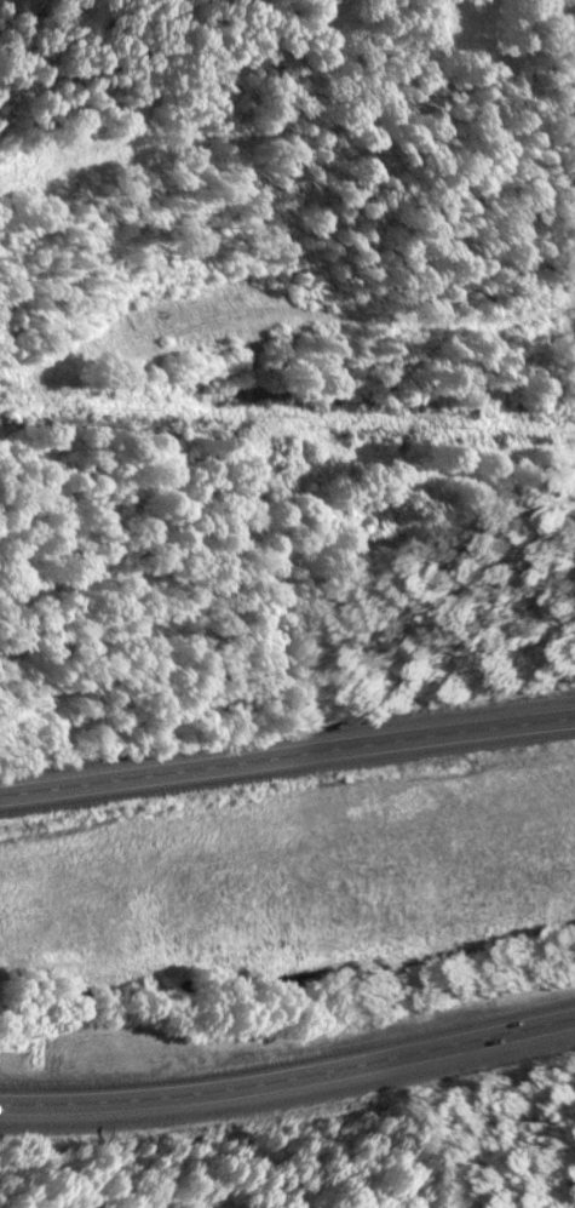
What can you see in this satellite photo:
road: (287, 755)
road: (289, 1071)

